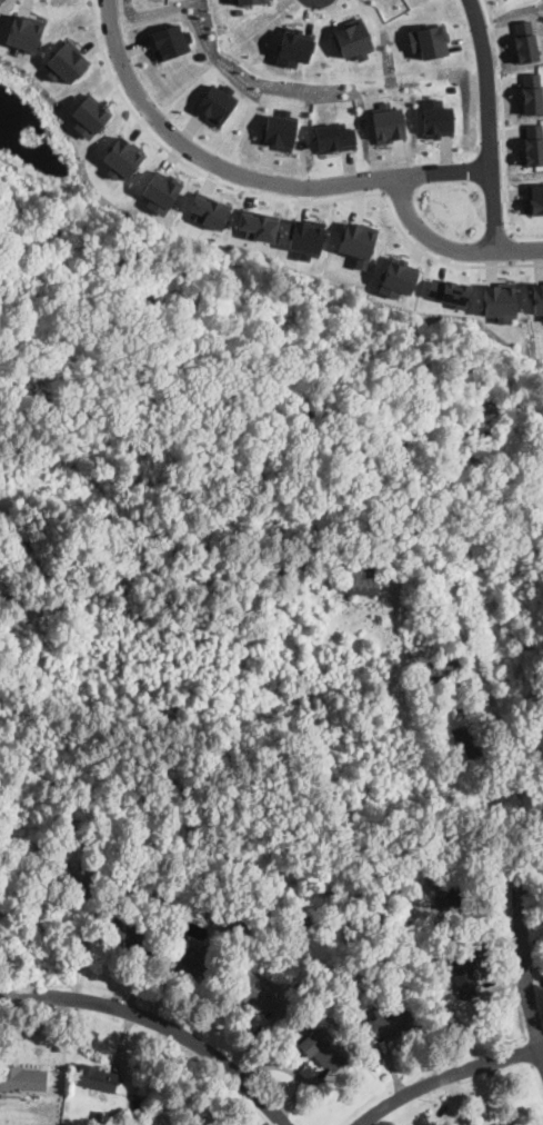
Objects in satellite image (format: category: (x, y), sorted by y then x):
building: (248, 1)
building: (22, 32)
building: (352, 38)
building: (428, 39)
building: (524, 39)
building: (169, 40)
building: (292, 46)
building: (66, 61)
building: (532, 92)
building: (214, 103)
road: (503, 115)
building: (88, 116)
building: (438, 120)
building: (388, 123)
road: (487, 123)
building: (278, 131)
building: (333, 137)
building: (533, 142)
building: (121, 158)
road: (249, 176)
building: (159, 192)
building: (534, 197)
building: (209, 209)
building: (258, 225)
road: (525, 235)
building: (304, 237)
road: (408, 238)
building: (356, 241)
road: (449, 247)
road: (509, 248)
building: (396, 277)
building: (449, 290)
building: (536, 296)
building: (499, 299)
building: (360, 578)
building: (432, 598)
building: (522, 640)
building: (444, 666)
building: (434, 720)
building: (467, 739)
building: (521, 750)
building: (445, 887)
building: (382, 909)
building: (128, 933)
building: (431, 954)
road: (524, 955)
building: (194, 958)
building: (463, 973)
building: (258, 994)
building: (356, 1004)
road: (159, 1021)
building: (306, 1021)
building: (392, 1022)
building: (320, 1049)
road: (61, 1051)
building: (94, 1077)
building: (21, 1078)
road: (451, 1078)
building: (165, 1104)
building: (101, 1117)
building: (506, 1124)
building: (507, 1124)

